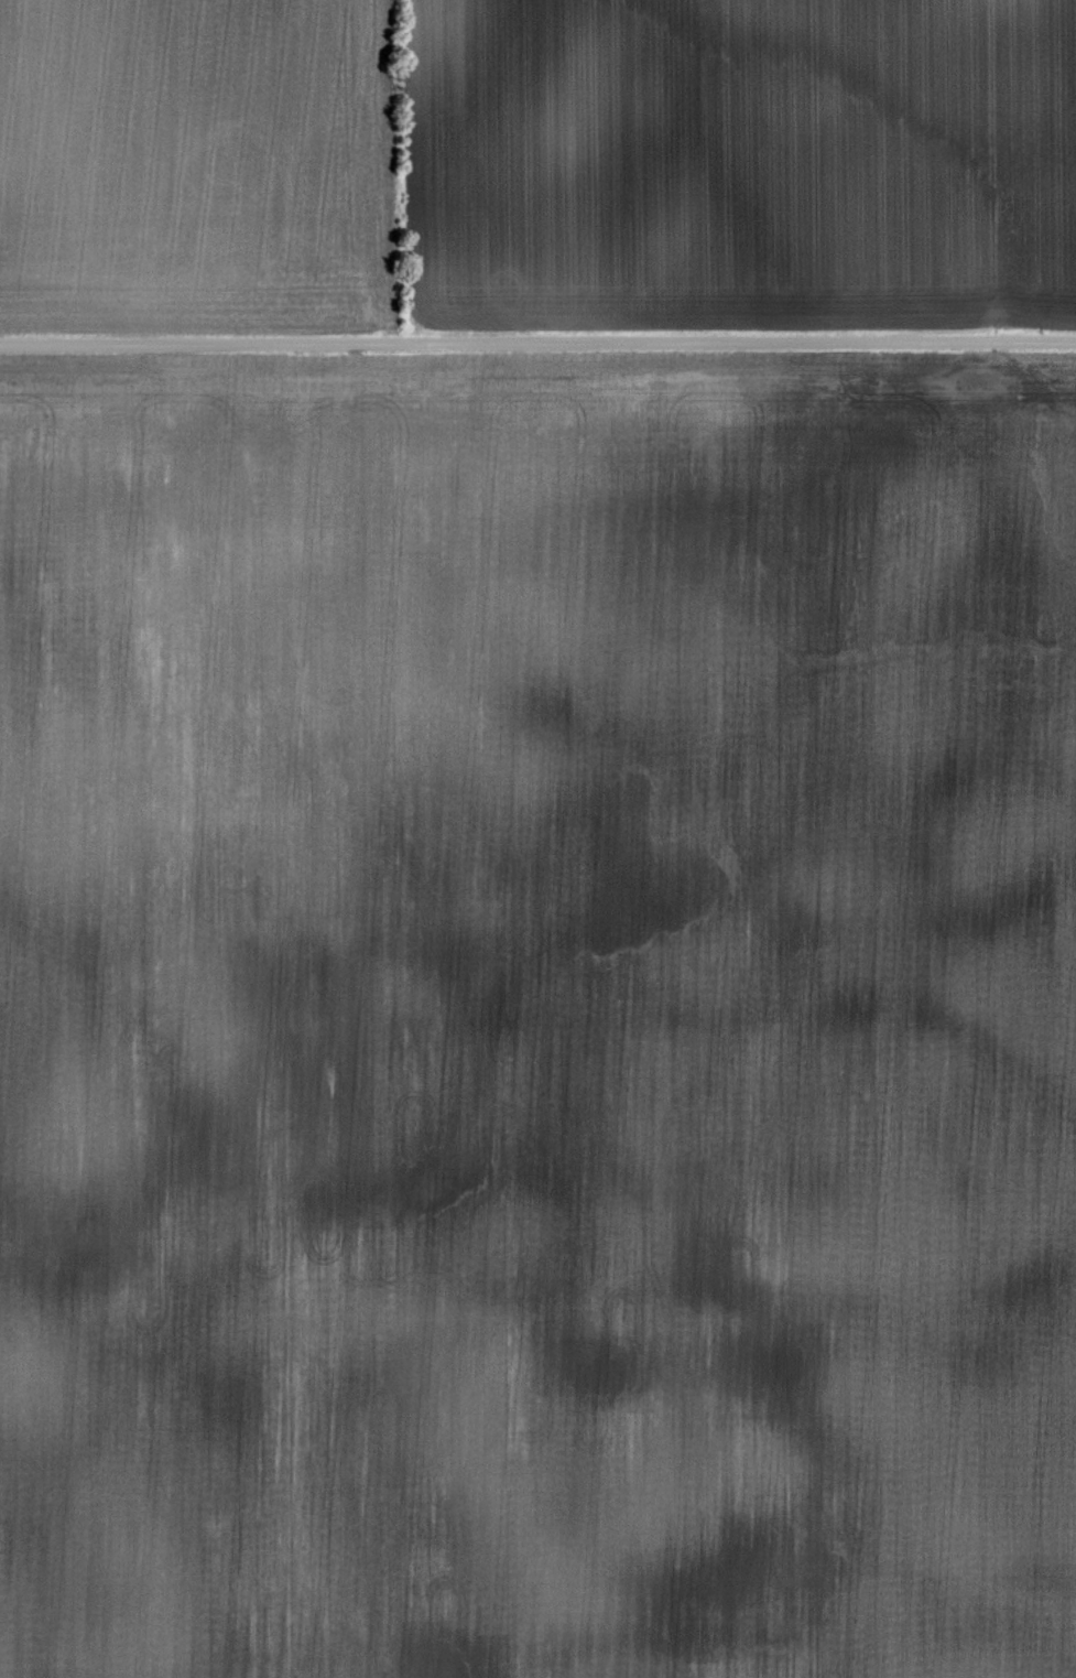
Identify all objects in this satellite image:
road: (537, 343)

